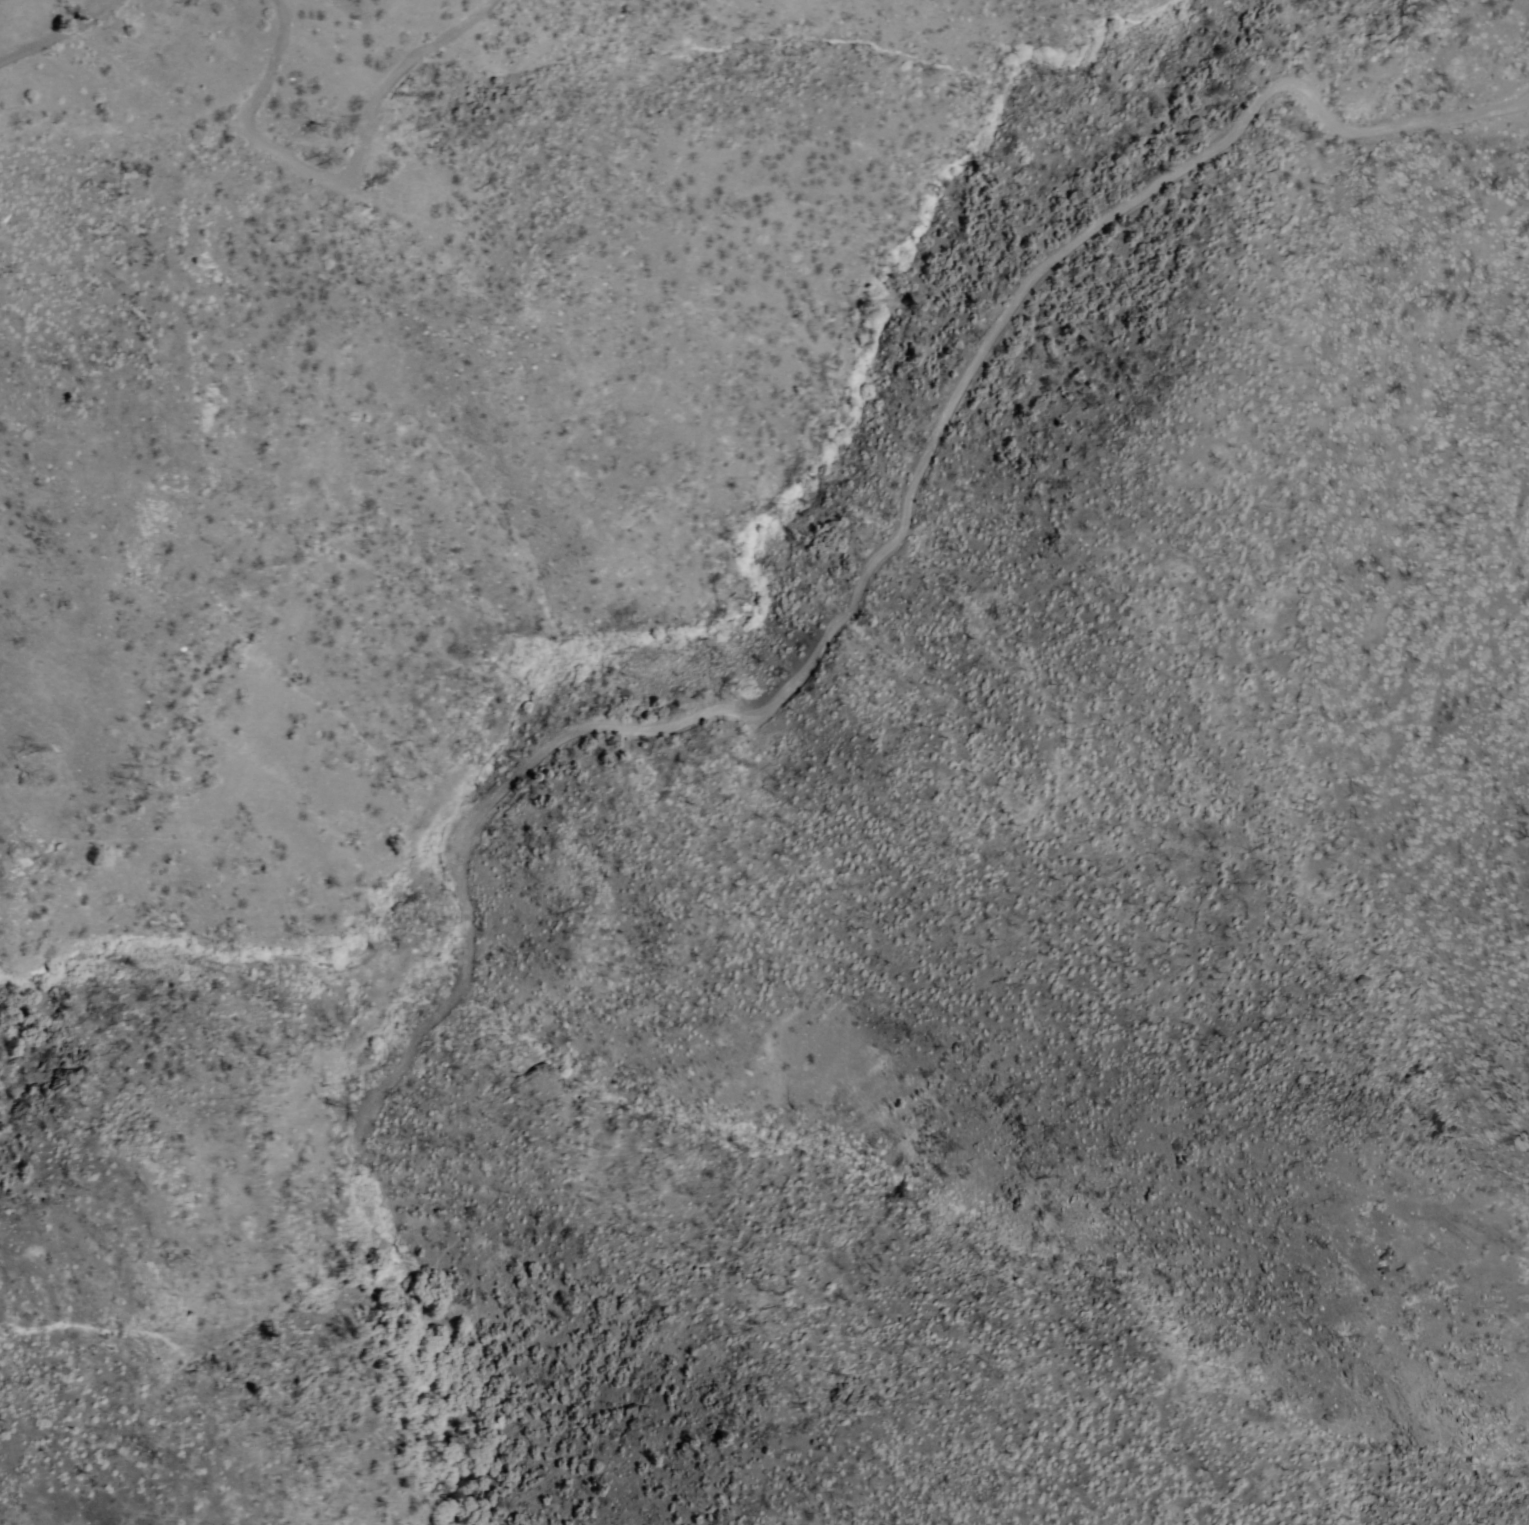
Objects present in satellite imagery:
road: (52, 34)
road: (341, 174)
road: (1011, 340)

